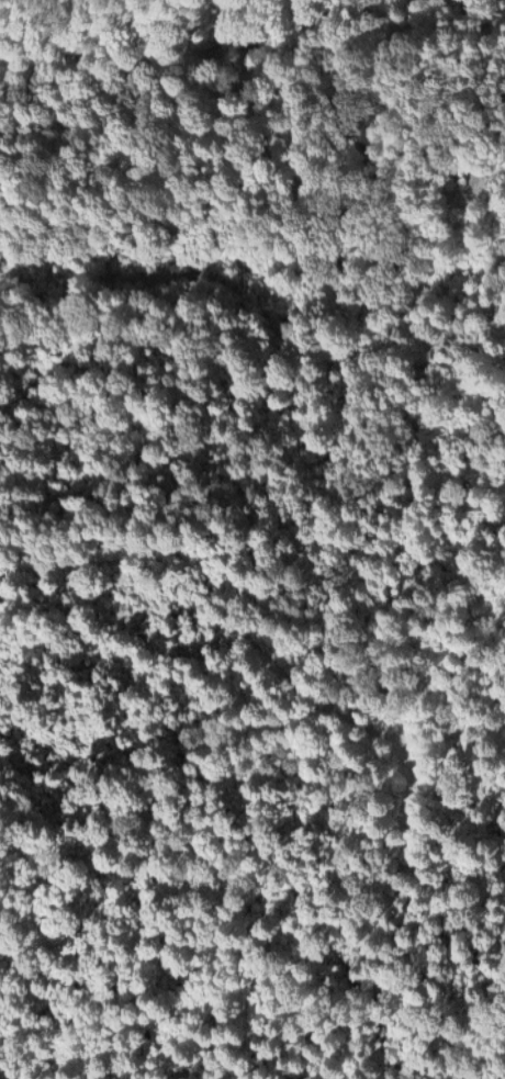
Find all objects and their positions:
road: (248, 639)

